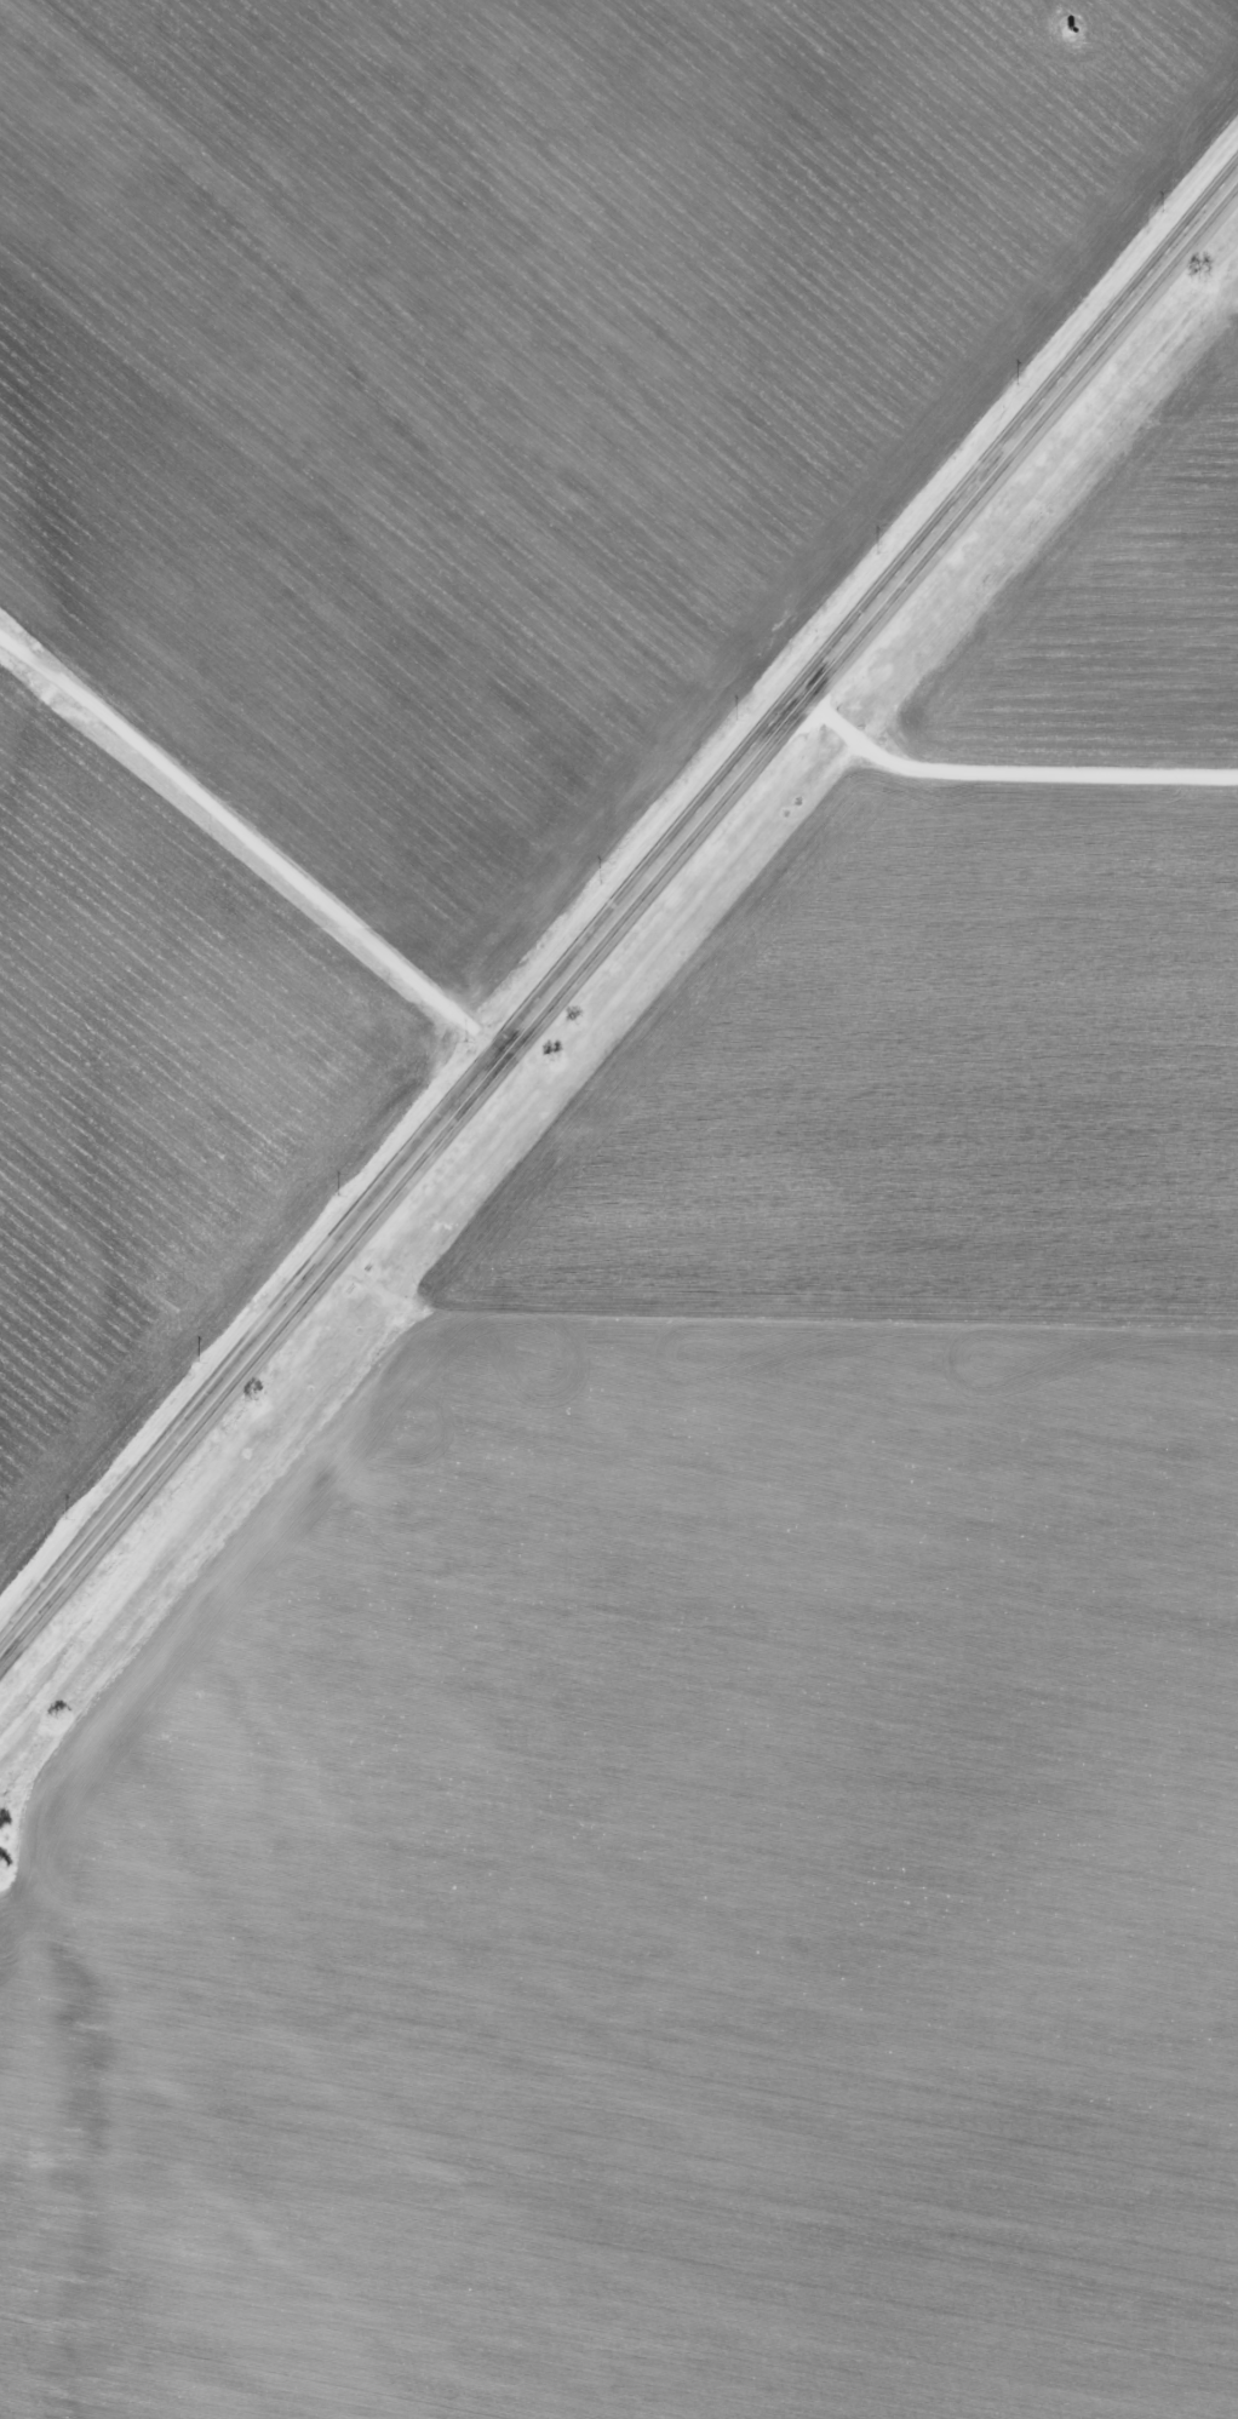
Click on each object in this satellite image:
road: (1015, 753)
road: (618, 923)
railway: (619, 1027)

